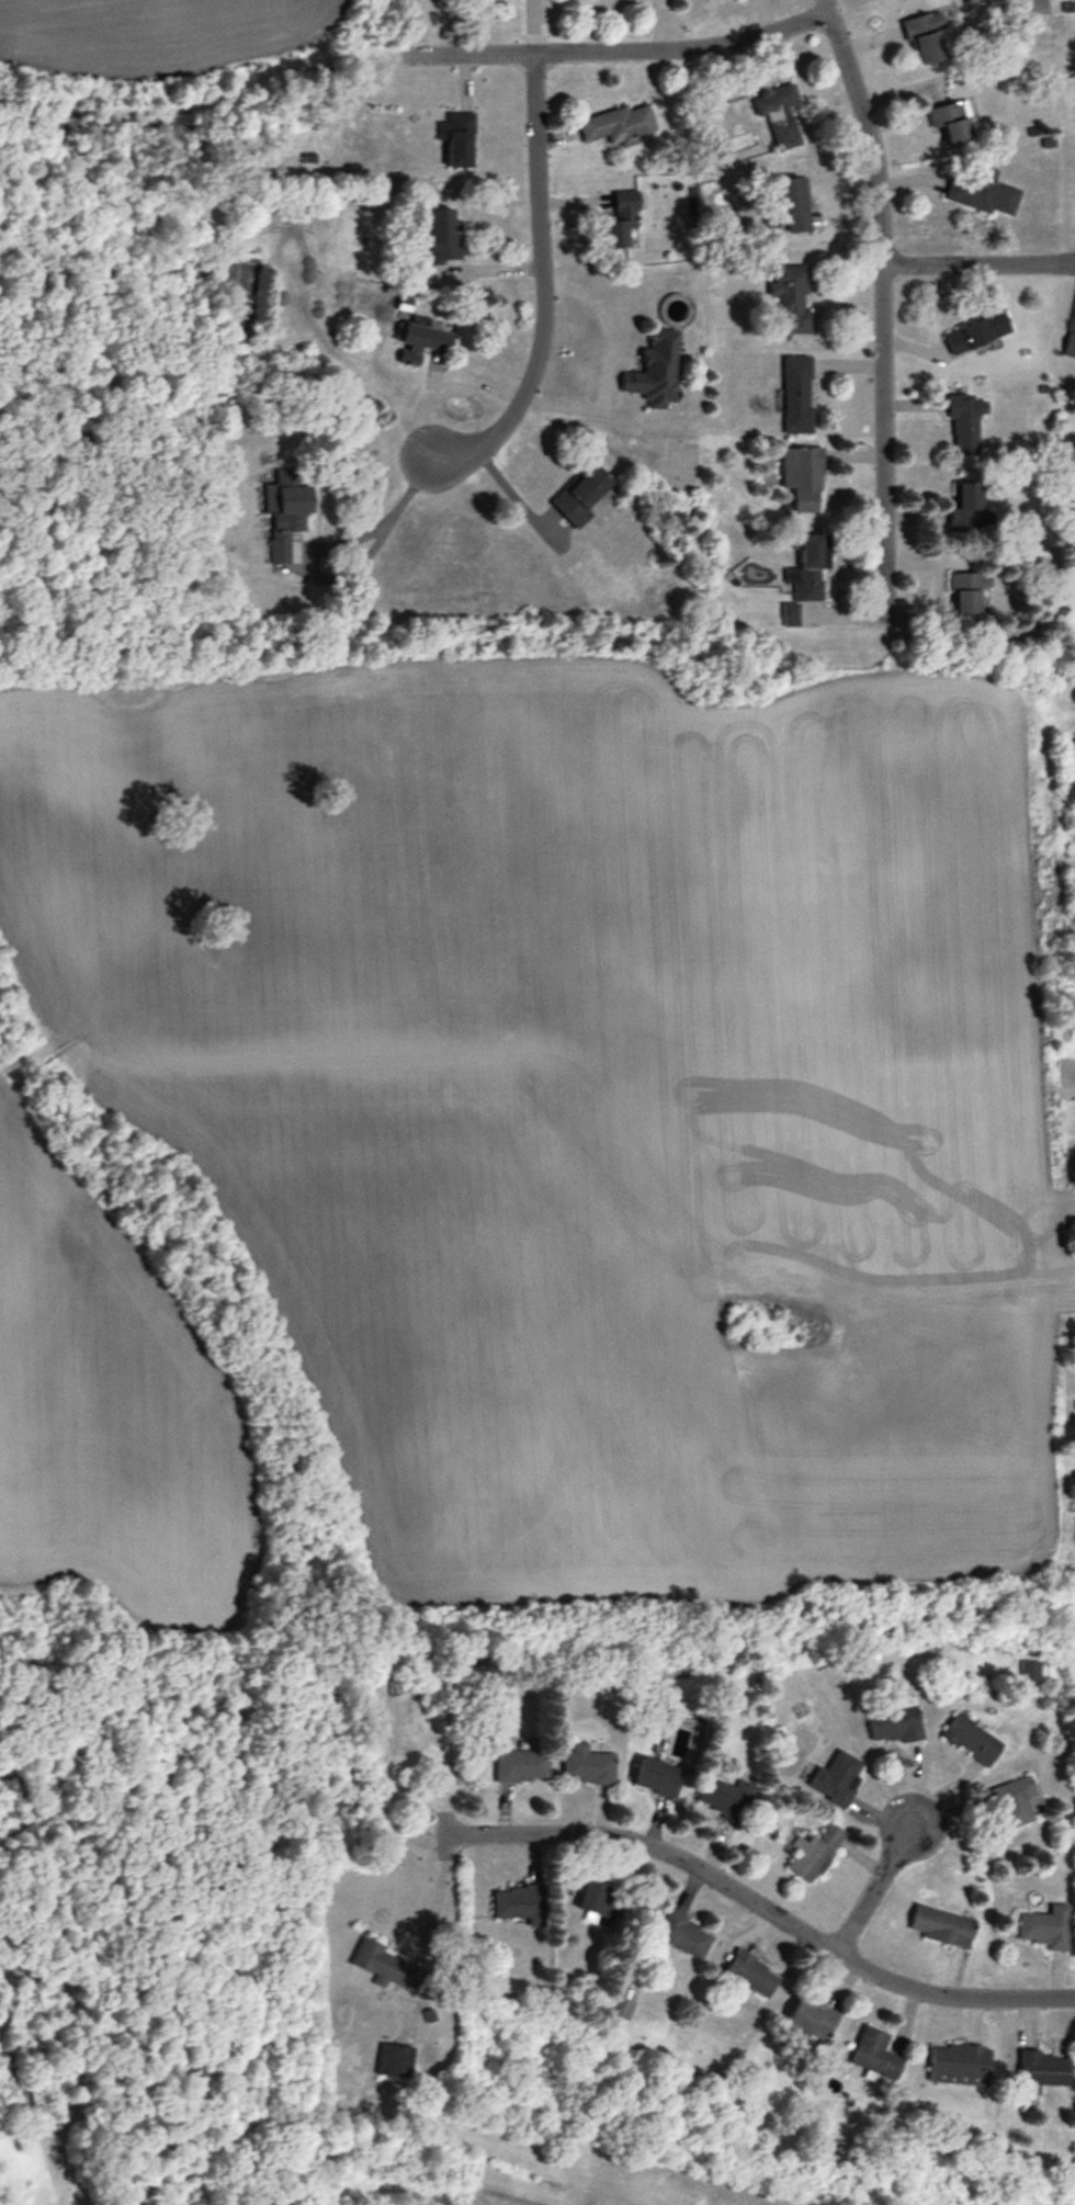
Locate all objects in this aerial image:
building: (927, 37)
road: (602, 48)
building: (779, 115)
building: (953, 123)
building: (618, 126)
building: (459, 139)
building: (984, 194)
building: (793, 203)
building: (623, 220)
building: (440, 238)
road: (980, 261)
road: (542, 286)
building: (792, 298)
road: (883, 312)
building: (977, 332)
building: (423, 344)
building: (1071, 347)
road: (608, 360)
building: (657, 372)
building: (797, 395)
building: (966, 423)
building: (803, 477)
road: (517, 494)
building: (580, 494)
building: (970, 506)
building: (286, 511)
road: (381, 534)
building: (810, 570)
building: (967, 593)
building: (790, 615)
building: (1030, 1672)
building: (896, 1723)
building: (973, 1739)
building: (588, 1766)
building: (522, 1767)
building: (658, 1777)
building: (837, 1778)
building: (725, 1798)
building: (1015, 1802)
building: (814, 1852)
road: (875, 1888)
road: (437, 1892)
building: (600, 1900)
building: (521, 1904)
road: (770, 1909)
building: (641, 1918)
building: (942, 1926)
building: (1048, 1927)
building: (684, 1935)
building: (387, 1968)
building: (751, 1975)
building: (813, 2019)
building: (875, 2054)
building: (394, 2062)
building: (959, 2065)
building: (1042, 2072)

